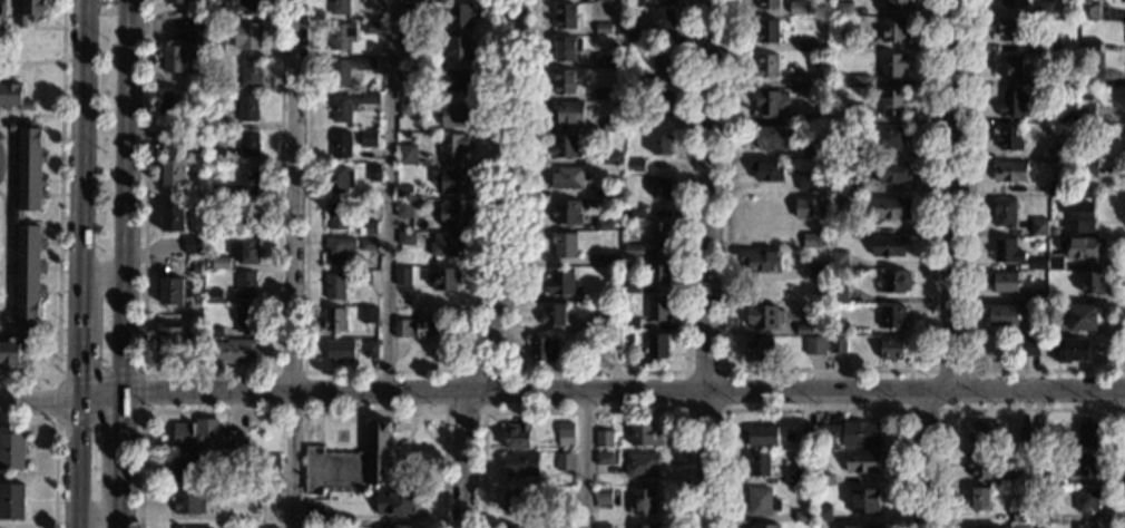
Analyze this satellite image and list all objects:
building: (407, 0)
building: (606, 0)
building: (175, 1)
building: (1014, 2)
building: (635, 3)
building: (767, 3)
building: (896, 4)
building: (339, 7)
building: (843, 7)
building: (799, 8)
building: (1044, 8)
building: (238, 9)
building: (410, 9)
building: (29, 11)
building: (1088, 11)
building: (1, 13)
building: (212, 16)
building: (460, 16)
building: (566, 17)
building: (197, 18)
building: (663, 22)
building: (372, 28)
building: (431, 29)
building: (604, 29)
building: (1010, 29)
building: (893, 30)
building: (766, 32)
building: (196, 35)
building: (245, 35)
building: (341, 35)
building: (636, 39)
building: (413, 40)
building: (806, 45)
building: (1049, 45)
building: (1089, 45)
building: (863, 46)
building: (459, 47)
building: (216, 48)
building: (566, 48)
building: (174, 59)
building: (664, 60)
building: (604, 61)
road: (30, 63)
building: (765, 66)
building: (892, 66)
building: (1010, 66)
building: (348, 69)
building: (250, 72)
building: (409, 76)
building: (636, 78)
building: (1094, 78)
building: (454, 79)
building: (801, 80)
building: (860, 80)
building: (564, 81)
building: (1041, 81)
building: (216, 86)
building: (603, 94)
building: (12, 96)
building: (663, 101)
building: (892, 101)
building: (767, 102)
building: (174, 104)
building: (349, 104)
building: (1014, 105)
building: (246, 108)
building: (407, 108)
building: (568, 111)
building: (1086, 113)
building: (454, 114)
building: (857, 114)
building: (1067, 115)
building: (801, 117)
building: (214, 119)
building: (612, 125)
road: (80, 130)
building: (771, 137)
building: (891, 137)
building: (232, 138)
building: (368, 138)
building: (1009, 139)
building: (247, 144)
building: (662, 144)
building: (340, 145)
building: (453, 146)
building: (565, 146)
building: (813, 150)
building: (858, 151)
building: (1060, 151)
building: (407, 154)
building: (613, 158)
building: (635, 165)
building: (1086, 166)
building: (766, 169)
building: (1009, 170)
building: (215, 172)
building: (893, 172)
building: (373, 173)
building: (173, 174)
building: (567, 177)
building: (338, 179)
building: (451, 179)
building: (246, 180)
building: (806, 180)
building: (840, 185)
building: (661, 188)
building: (1057, 188)
building: (604, 189)
building: (403, 192)
building: (222, 193)
road: (292, 195)
road: (390, 195)
road: (958, 196)
road: (126, 197)
building: (808, 207)
building: (839, 207)
building: (404, 208)
building: (890, 208)
building: (634, 212)
building: (1005, 212)
building: (454, 213)
building: (566, 213)
building: (336, 215)
building: (246, 216)
road: (58, 217)
building: (1079, 217)
building: (17, 218)
building: (172, 218)
building: (604, 223)
building: (368, 227)
building: (1038, 227)
building: (223, 228)
building: (1053, 232)
building: (659, 234)
building: (407, 237)
building: (812, 239)
building: (369, 244)
building: (449, 244)
building: (193, 245)
building: (564, 245)
building: (887, 245)
building: (630, 247)
building: (1079, 247)
building: (244, 250)
building: (336, 250)
building: (1005, 251)
road: (1, 258)
building: (610, 258)
building: (761, 260)
building: (839, 260)
building: (221, 262)
building: (1055, 262)
building: (1039, 263)
road: (711, 264)
road: (506, 266)
building: (196, 270)
building: (816, 270)
building: (658, 271)
building: (403, 275)
road: (101, 276)
building: (362, 277)
building: (443, 278)
building: (893, 281)
building: (1002, 281)
building: (559, 282)
building: (1092, 282)
building: (245, 284)
building: (335, 284)
building: (632, 286)
building: (170, 292)
building: (838, 293)
building: (601, 294)
building: (1036, 295)
building: (213, 296)
building: (1056, 299)
road: (969, 302)
building: (657, 307)
building: (1030, 311)
building: (1046, 311)
building: (369, 314)
building: (554, 314)
building: (1002, 314)
building: (763, 316)
building: (891, 317)
building: (1082, 317)
building: (245, 319)
building: (334, 320)
building: (601, 322)
building: (630, 323)
building: (837, 324)
building: (417, 329)
building: (803, 329)
road: (76, 331)
building: (213, 332)
building: (170, 340)
building: (627, 342)
building: (614, 343)
building: (837, 344)
building: (814, 345)
building: (657, 346)
building: (1026, 346)
building: (891, 348)
building: (370, 349)
building: (541, 349)
building: (759, 349)
building: (1072, 350)
building: (12, 351)
building: (233, 351)
building: (340, 351)
road: (208, 372)
road: (585, 372)
road: (825, 372)
road: (967, 372)
road: (380, 373)
road: (275, 379)
road: (1123, 390)
road: (624, 391)
road: (99, 399)
road: (37, 400)
road: (482, 408)
road: (904, 409)
road: (815, 410)
road: (1033, 410)
road: (139, 411)
road: (293, 411)
road: (583, 411)
road: (724, 411)
building: (643, 433)
building: (852, 433)
building: (982, 433)
building: (1088, 433)
building: (806, 434)
building: (518, 436)
building: (565, 436)
building: (762, 436)
building: (1039, 436)
building: (205, 437)
building: (1024, 437)
building: (603, 439)
road: (121, 440)
road: (55, 448)
building: (12, 451)
road: (286, 459)
road: (584, 459)
road: (926, 460)
building: (566, 461)
building: (862, 461)
building: (352, 462)
building: (759, 462)
road: (74, 463)
building: (270, 463)
building: (521, 463)
building: (604, 465)
building: (640, 465)
building: (980, 465)
building: (1086, 465)
road: (394, 467)
building: (186, 469)
building: (1018, 477)
building: (793, 478)
building: (1055, 478)
building: (824, 479)
building: (564, 493)
building: (268, 496)
building: (979, 498)
building: (601, 499)
building: (512, 500)
building: (864, 500)
building: (1087, 500)
building: (12, 501)
building: (761, 501)
building: (188, 502)
building: (394, 502)
building: (643, 502)
road: (120, 506)
building: (823, 511)
building: (1041, 511)
building: (314, 514)
building: (1021, 515)
road: (97, 516)
building: (803, 516)
building: (1019, 525)
building: (399, 526)
building: (549, 526)
building: (561, 526)
building: (601, 526)
building: (644, 526)
building: (766, 526)
building: (860, 526)
building: (1085, 526)
building: (186, 527)
building: (268, 527)
building: (512, 527)

